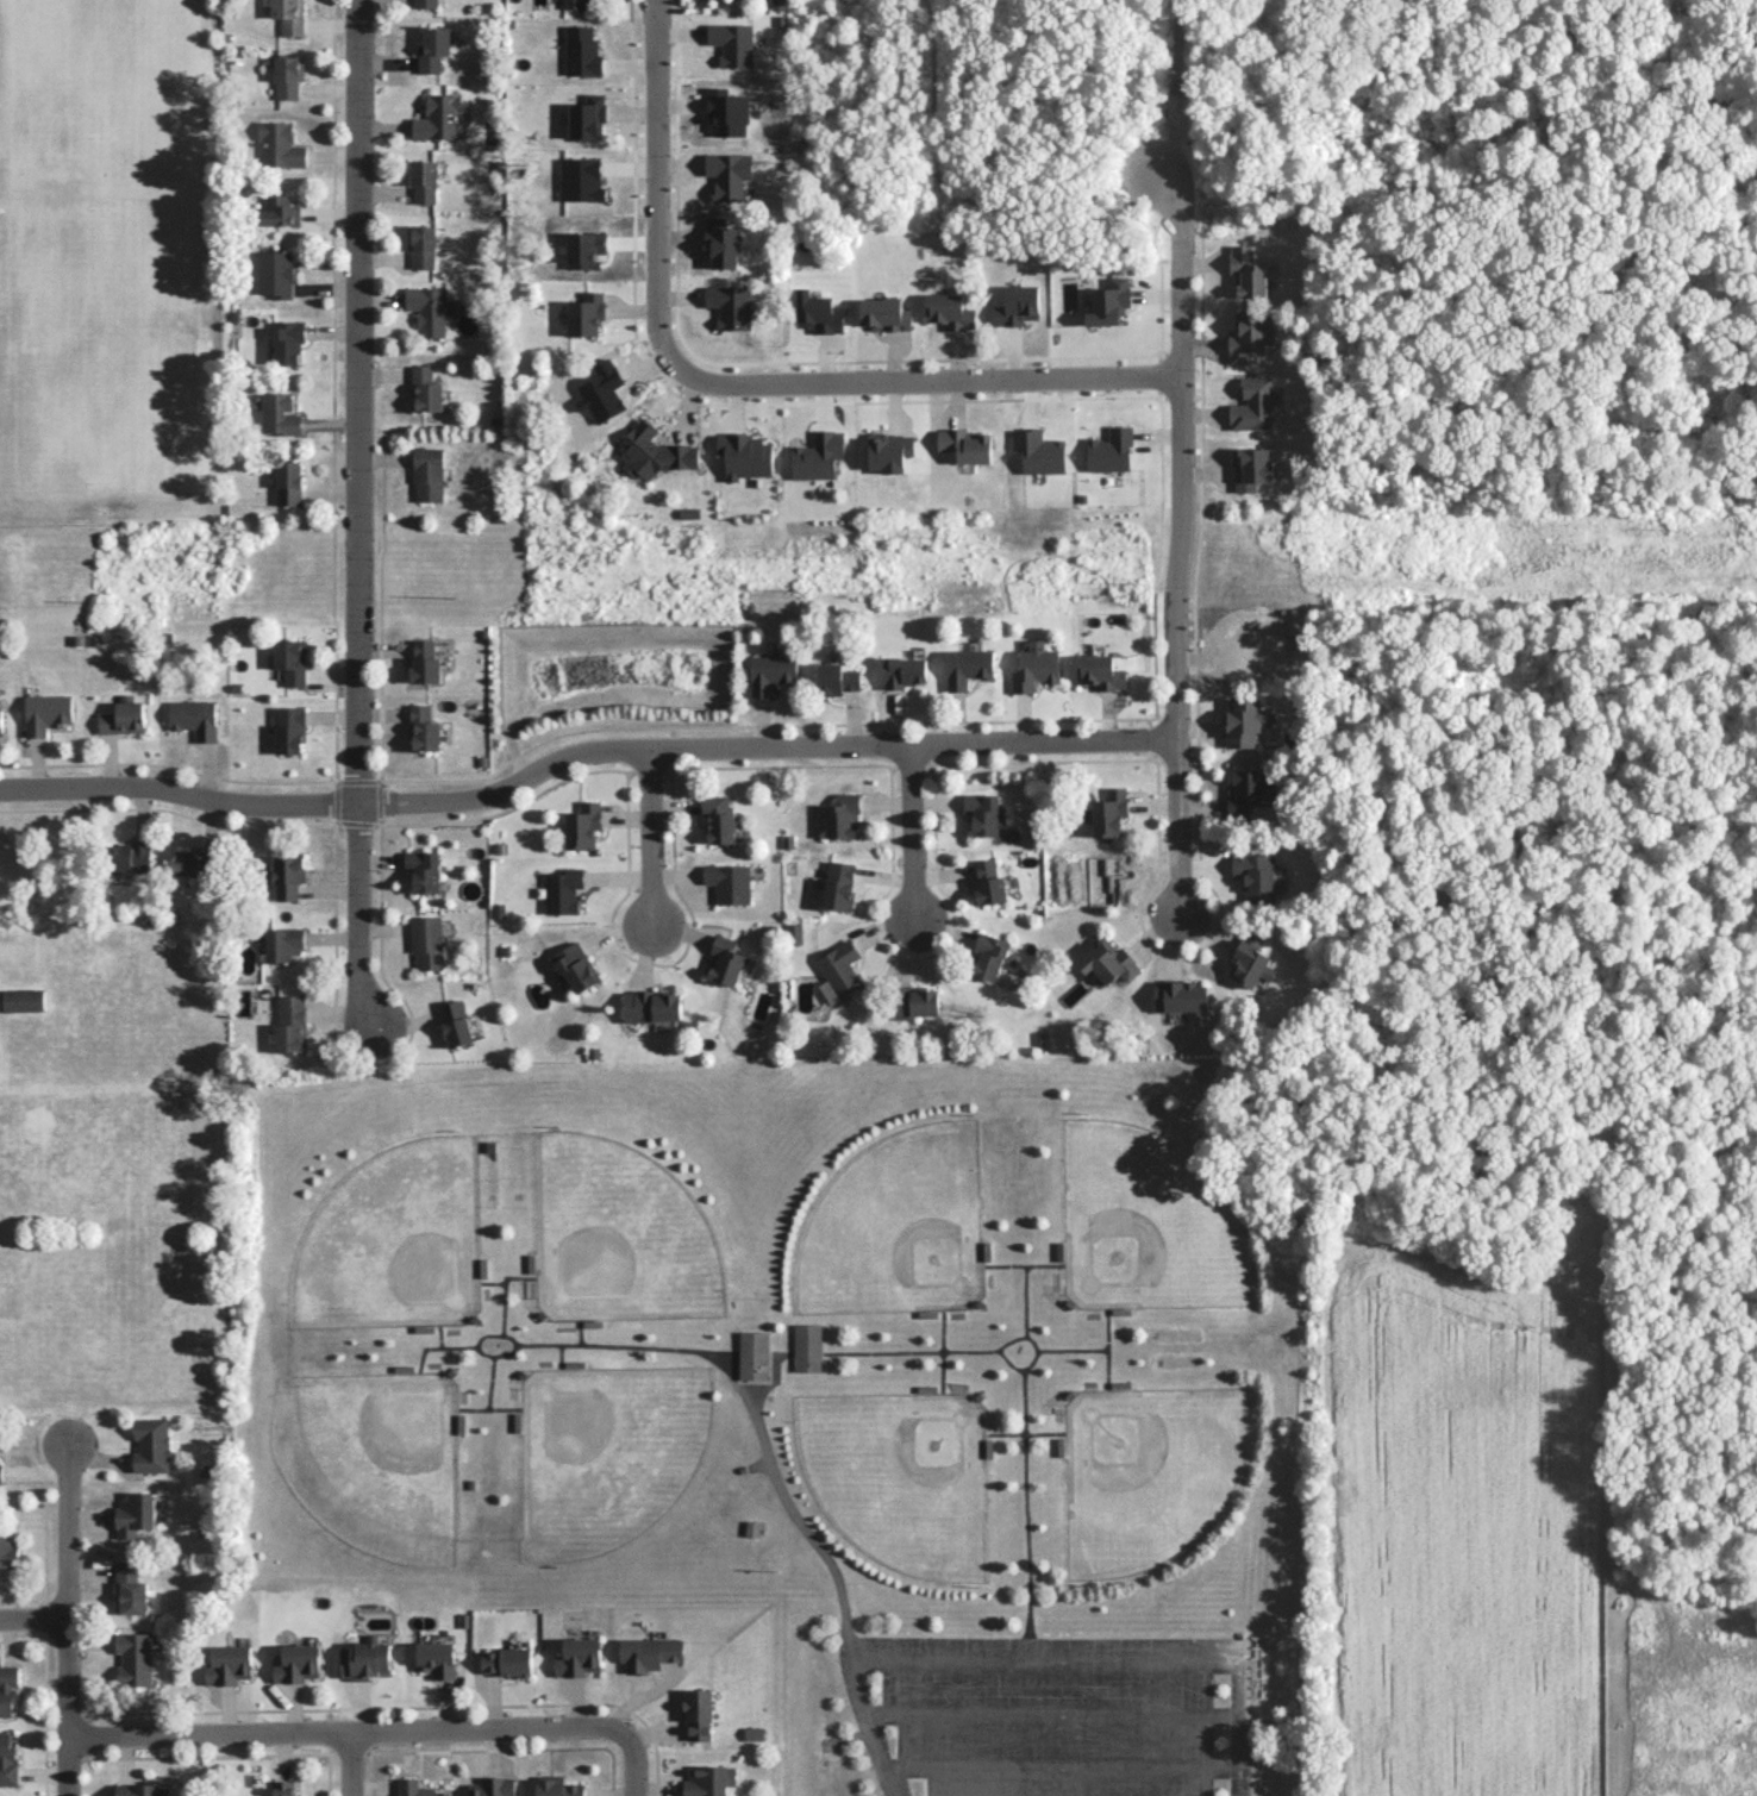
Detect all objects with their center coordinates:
building: (425, 4)
building: (574, 4)
building: (289, 15)
building: (732, 43)
building: (432, 48)
building: (581, 51)
park: (101, 74)
building: (287, 75)
building: (725, 112)
building: (437, 117)
building: (587, 117)
building: (280, 144)
building: (729, 173)
building: (424, 180)
road: (656, 193)
building: (279, 211)
building: (721, 243)
building: (421, 245)
building: (274, 273)
building: (1246, 273)
building: (1108, 302)
building: (730, 306)
building: (1017, 306)
building: (426, 309)
building: (949, 311)
building: (818, 312)
building: (584, 314)
building: (884, 314)
building: (1248, 336)
building: (287, 340)
park: (104, 348)
road: (930, 386)
building: (425, 389)
building: (1253, 403)
building: (279, 414)
building: (965, 444)
building: (1109, 450)
building: (888, 451)
building: (1039, 451)
building: (654, 452)
building: (745, 455)
building: (818, 456)
building: (1251, 468)
building: (427, 473)
building: (287, 482)
road: (356, 517)
power tower: (1312, 538)
power tower: (1680, 538)
power tower: (945, 540)
road: (1180, 542)
power tower: (577, 543)
power tower: (225, 553)
power tower: (1145, 578)
power tower: (1481, 578)
power tower: (801, 593)
power tower: (456, 600)
power tower: (111, 607)
building: (1248, 644)
building: (289, 661)
building: (424, 662)
building: (967, 667)
building: (1034, 667)
building: (903, 671)
building: (1100, 671)
building: (770, 672)
building: (836, 678)
building: (46, 713)
building: (123, 718)
building: (194, 718)
building: (0, 721)
building: (1245, 721)
building: (288, 728)
building: (423, 728)
road: (763, 747)
building: (1245, 791)
road: (180, 796)
building: (1108, 812)
building: (982, 813)
building: (842, 815)
building: (717, 819)
building: (582, 825)
road: (912, 836)
road: (649, 840)
building: (129, 852)
building: (195, 862)
building: (423, 870)
building: (287, 876)
building: (1255, 876)
building: (729, 882)
building: (989, 883)
building: (838, 886)
building: (562, 890)
building: (793, 933)
building: (426, 941)
building: (282, 944)
building: (988, 956)
building: (724, 960)
building: (1108, 962)
building: (1250, 963)
building: (575, 966)
building: (839, 968)
building: (1180, 995)
building: (21, 1000)
building: (915, 1002)
building: (651, 1005)
building: (455, 1022)
building: (289, 1024)
park: (905, 1226)
park: (1139, 1228)
park: (626, 1238)
park: (405, 1244)
road: (1026, 1264)
road: (1021, 1300)
road: (513, 1307)
road: (464, 1344)
building: (807, 1347)
road: (909, 1350)
road: (939, 1350)
road: (1106, 1350)
road: (1070, 1351)
building: (752, 1354)
road: (724, 1370)
road: (505, 1378)
road: (496, 1404)
building: (150, 1444)
park: (615, 1447)
park: (388, 1454)
park: (1156, 1472)
building: (0, 1473)
park: (898, 1477)
road: (1024, 1503)
building: (135, 1514)
building: (7, 1551)
building: (129, 1589)
road: (32, 1620)
road: (64, 1621)
road: (21, 1638)
building: (649, 1653)
road: (851, 1656)
building: (577, 1657)
building: (133, 1658)
building: (436, 1658)
building: (364, 1660)
building: (507, 1662)
building: (295, 1663)
building: (227, 1664)
road: (1105, 1665)
building: (7, 1688)
building: (699, 1713)
road: (1052, 1715)
parking lot: (1067, 1715)
road: (44, 1716)
building: (754, 1733)
road: (874, 1734)
road: (346, 1736)
building: (7, 1760)
road: (350, 1766)
road: (1063, 1767)
road: (633, 1769)
road: (39, 1773)
building: (706, 1781)
building: (492, 1786)
building: (557, 1786)
building: (282, 1788)
building: (415, 1788)
building: (136, 1790)

